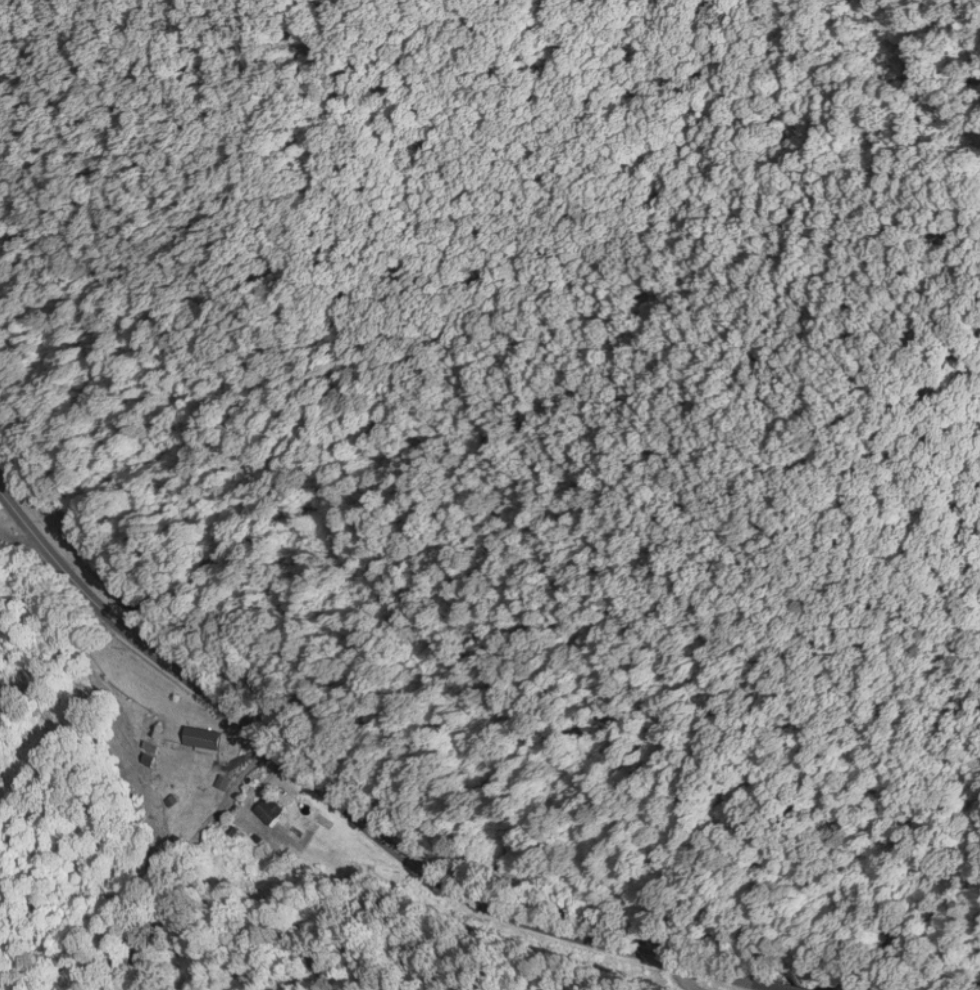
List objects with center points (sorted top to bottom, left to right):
road: (17, 536)
building: (198, 737)
road: (344, 808)
road: (664, 977)
road: (789, 987)

